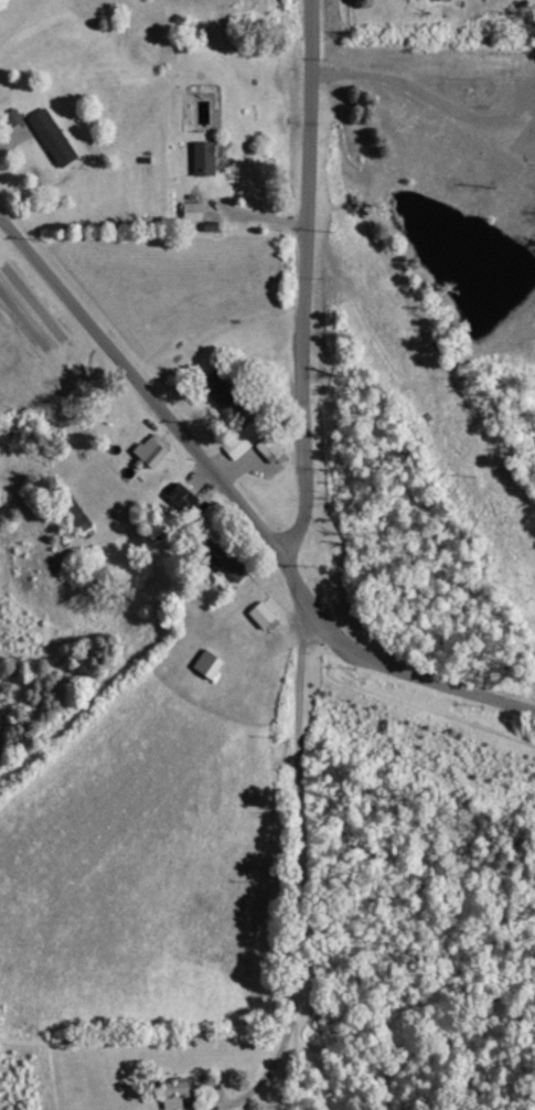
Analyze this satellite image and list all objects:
building: (57, 136)
building: (210, 157)
building: (196, 211)
road: (300, 280)
building: (228, 392)
building: (259, 441)
building: (157, 448)
road: (240, 505)
building: (232, 561)
building: (266, 615)
building: (213, 663)
road: (298, 871)
building: (181, 1091)

